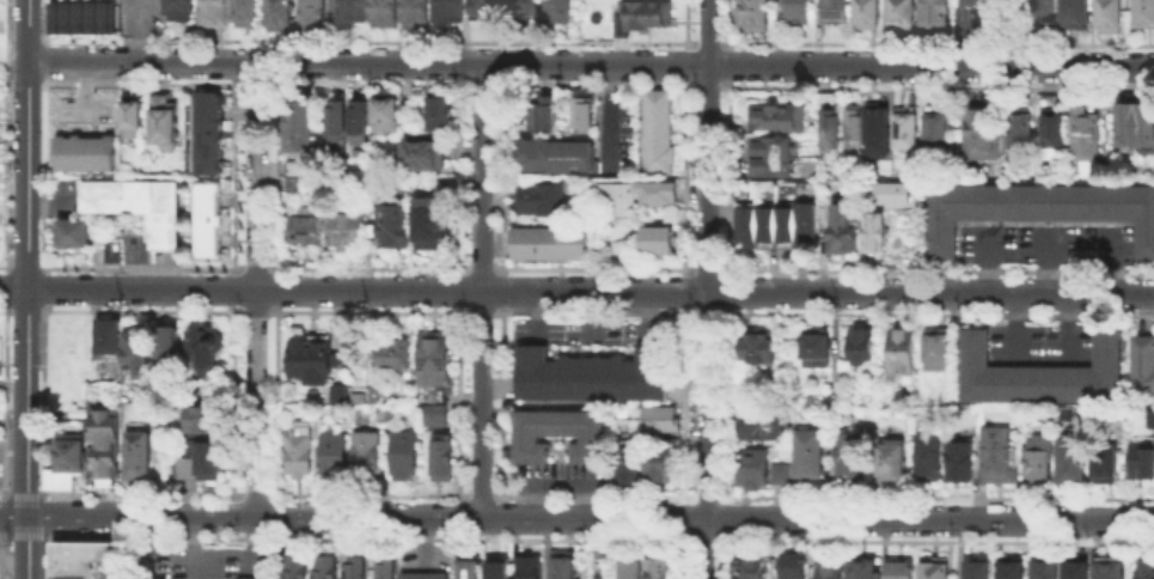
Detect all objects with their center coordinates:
building: (989, 1)
building: (177, 8)
building: (526, 8)
building: (419, 11)
building: (487, 11)
building: (561, 11)
building: (1045, 11)
building: (248, 12)
building: (353, 12)
building: (386, 12)
building: (451, 12)
building: (935, 12)
building: (836, 13)
building: (902, 13)
building: (1077, 13)
building: (215, 14)
building: (647, 14)
building: (1144, 14)
building: (80, 16)
building: (315, 16)
building: (756, 16)
building: (800, 16)
building: (868, 16)
building: (281, 17)
building: (1112, 18)
road: (685, 24)
road: (729, 24)
road: (138, 31)
road: (32, 38)
road: (366, 39)
road: (706, 41)
road: (935, 41)
park: (2, 47)
road: (591, 63)
road: (685, 63)
road: (728, 65)
street lamp: (5, 72)
road: (32, 84)
road: (140, 84)
road: (254, 84)
road: (367, 84)
road: (480, 84)
road: (593, 84)
road: (706, 84)
road: (935, 84)
building: (387, 114)
building: (440, 114)
building: (586, 114)
building: (543, 115)
building: (130, 117)
building: (776, 117)
building: (161, 118)
building: (829, 122)
building: (340, 123)
building: (361, 123)
building: (298, 124)
building: (878, 124)
building: (1137, 126)
building: (855, 128)
building: (657, 129)
building: (985, 129)
building: (1021, 130)
building: (206, 132)
building: (908, 132)
building: (939, 132)
building: (1056, 132)
building: (1086, 136)
building: (84, 151)
building: (422, 153)
building: (560, 153)
building: (783, 158)
building: (293, 166)
road: (684, 176)
road: (728, 177)
building: (294, 182)
building: (450, 187)
building: (370, 188)
building: (654, 191)
building: (749, 191)
building: (890, 193)
building: (539, 196)
building: (918, 200)
building: (141, 208)
building: (1037, 208)
building: (393, 223)
building: (210, 224)
building: (776, 224)
building: (433, 225)
building: (352, 230)
building: (842, 231)
building: (305, 232)
building: (875, 234)
building: (77, 236)
building: (658, 238)
parking lot: (1046, 240)
building: (549, 242)
building: (110, 251)
building: (117, 256)
road: (988, 258)
road: (1048, 258)
road: (1111, 260)
road: (33, 266)
road: (141, 266)
road: (256, 267)
road: (368, 267)
road: (482, 268)
road: (594, 268)
road: (707, 269)
road: (935, 269)
road: (13, 286)
road: (257, 288)
road: (591, 288)
road: (28, 289)
road: (482, 289)
road: (708, 289)
road: (684, 291)
road: (728, 291)
road: (32, 310)
road: (141, 310)
road: (255, 311)
road: (368, 311)
road: (482, 311)
road: (593, 311)
road: (708, 311)
road: (938, 312)
building: (110, 336)
building: (170, 345)
parking lot: (1040, 346)
building: (206, 347)
building: (759, 347)
building: (818, 348)
building: (863, 348)
building: (939, 352)
building: (903, 353)
building: (139, 355)
building: (395, 356)
building: (316, 359)
building: (434, 361)
building: (1144, 368)
building: (1039, 371)
building: (591, 374)
building: (834, 396)
building: (341, 397)
road: (683, 403)
road: (726, 403)
building: (81, 414)
building: (435, 416)
building: (1079, 418)
building: (1149, 420)
building: (204, 421)
building: (663, 422)
building: (764, 427)
building: (562, 437)
building: (108, 445)
building: (301, 453)
building: (336, 453)
building: (368, 456)
building: (812, 456)
building: (848, 456)
building: (405, 457)
building: (142, 458)
building: (445, 458)
building: (928, 458)
building: (1000, 458)
building: (891, 459)
building: (961, 461)
building: (1040, 461)
building: (1071, 461)
building: (1106, 461)
building: (1143, 461)
building: (203, 463)
building: (68, 464)
building: (629, 465)
building: (663, 468)
building: (762, 471)
road: (4, 492)
road: (139, 492)
road: (251, 492)
road: (22, 493)
road: (365, 493)
road: (478, 494)
road: (591, 494)
road: (703, 495)
road: (934, 496)
road: (576, 517)
road: (683, 517)
road: (722, 517)
road: (25, 535)
road: (5, 536)
road: (367, 536)
road: (702, 537)
road: (933, 537)
road: (683, 555)
road: (720, 555)
building: (88, 562)
building: (752, 565)
building: (795, 565)
building: (630, 567)
building: (936, 567)
building: (299, 568)
building: (569, 568)
building: (861, 568)
building: (1013, 568)
building: (1079, 568)
building: (1111, 568)
building: (329, 569)
building: (360, 569)
building: (531, 569)
building: (661, 569)
building: (389, 571)
building: (471, 571)
building: (830, 571)
building: (902, 571)
building: (978, 571)
building: (499, 572)
building: (1048, 572)
building: (1148, 572)
building: (426, 577)
building: (256, 578)

